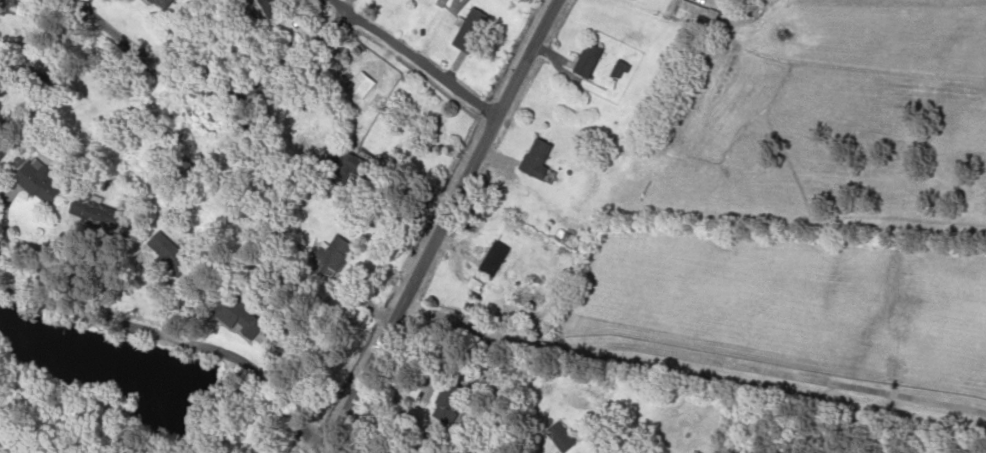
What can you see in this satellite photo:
building: (159, 4)
building: (264, 5)
building: (695, 13)
building: (468, 27)
road: (409, 57)
building: (585, 59)
building: (614, 70)
building: (357, 84)
road: (203, 92)
building: (3, 148)
building: (532, 157)
building: (347, 162)
building: (333, 175)
building: (40, 180)
building: (103, 208)
road: (434, 225)
building: (167, 250)
building: (490, 257)
building: (324, 259)
building: (231, 313)
road: (176, 340)
road: (689, 357)
building: (446, 403)
building: (556, 436)

